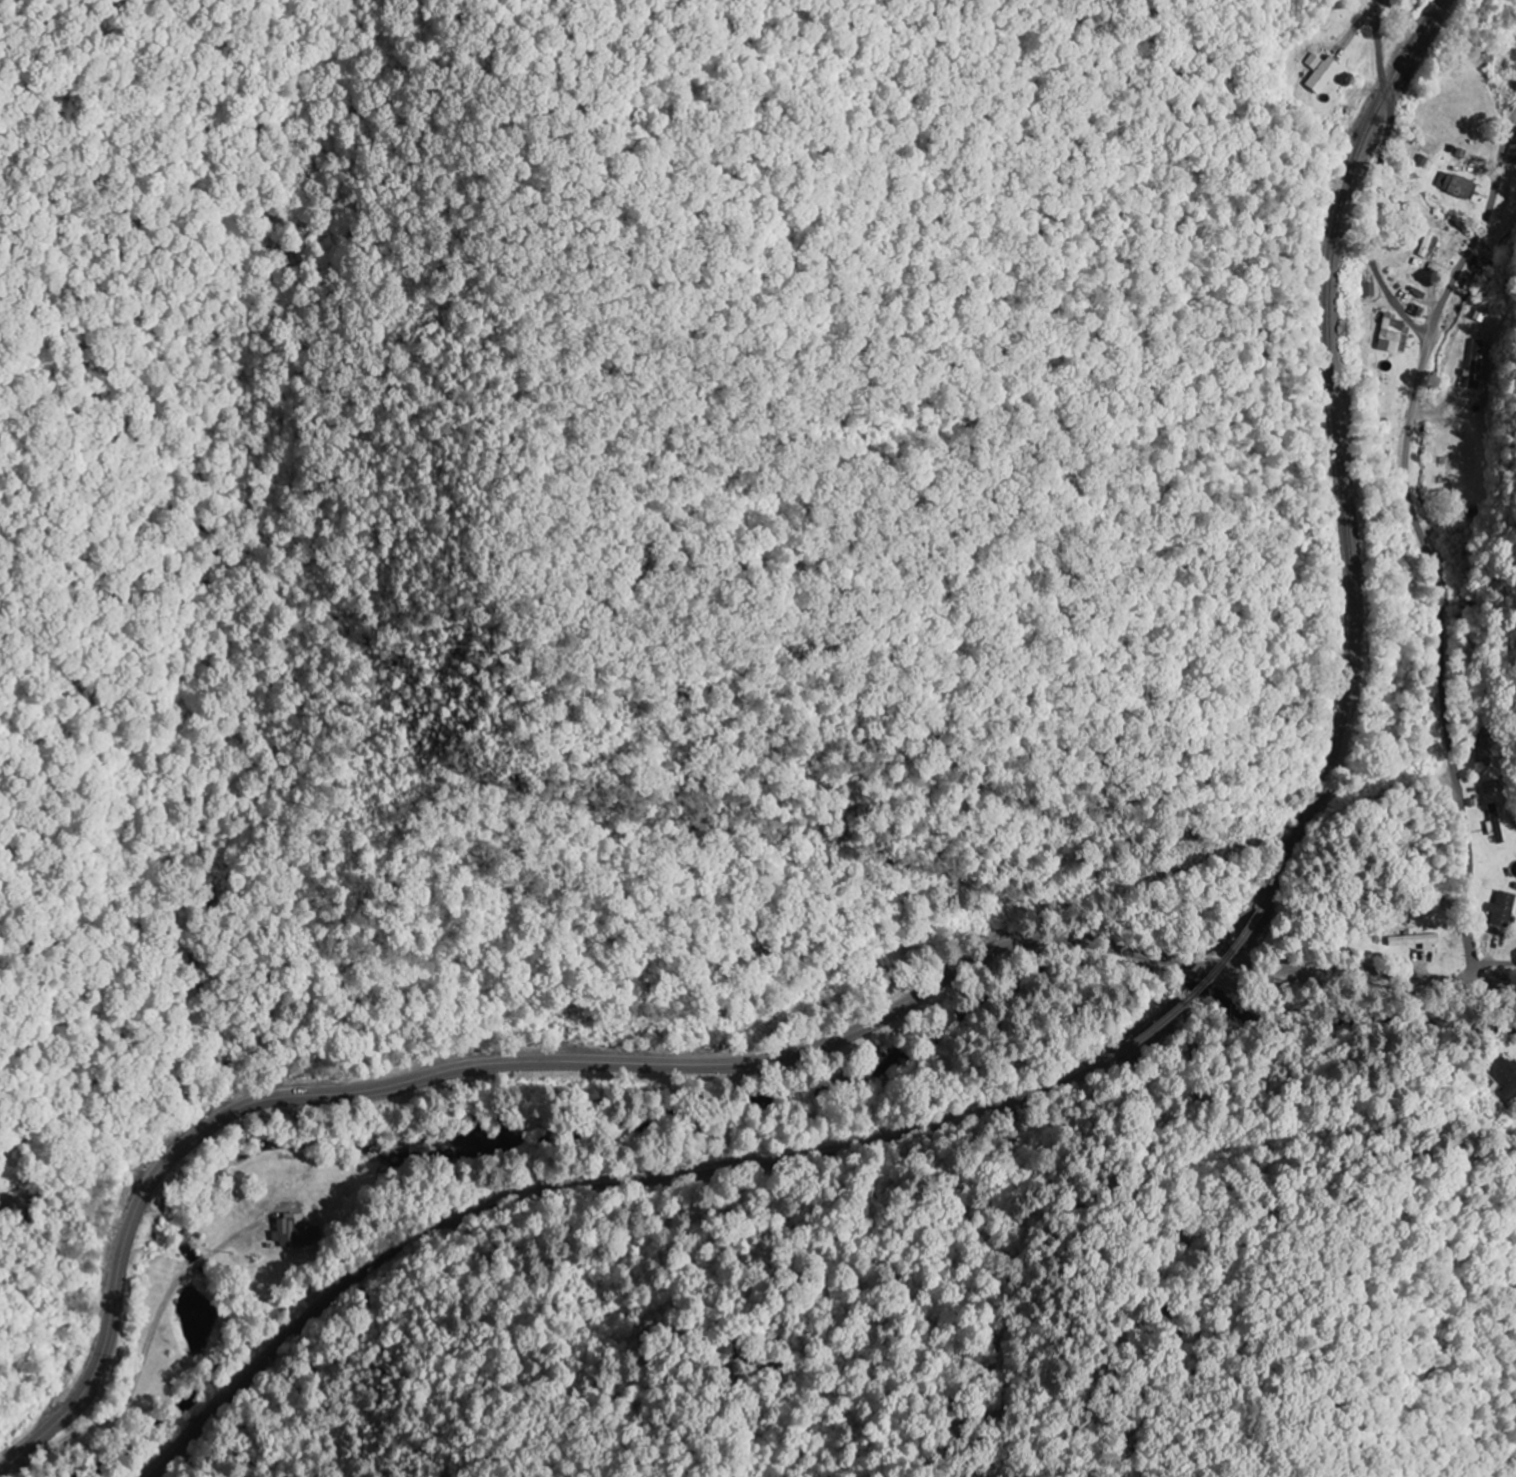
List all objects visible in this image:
building: (1324, 75)
building: (1513, 154)
road: (1378, 178)
building: (1456, 185)
building: (1429, 243)
building: (1370, 289)
building: (1394, 334)
building: (1474, 364)
railway: (1335, 455)
road: (1431, 538)
building: (1495, 830)
building: (1503, 908)
building: (1413, 939)
railway: (1171, 1010)
road: (665, 1065)
building: (1510, 1083)
railway: (563, 1200)
building: (290, 1231)

